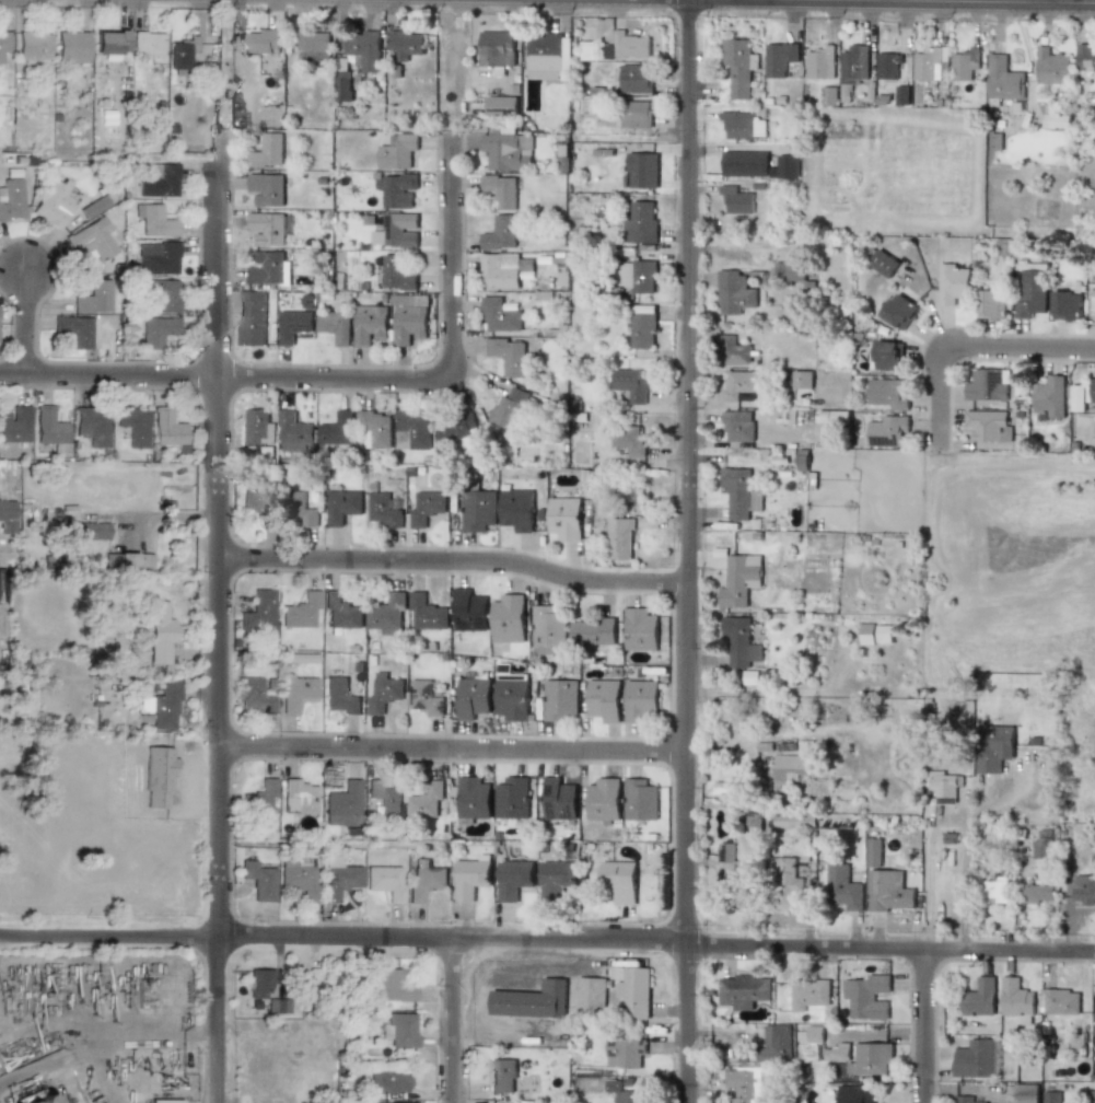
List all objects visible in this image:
road: (500, 0)
road: (935, 1)
road: (1044, 1)
road: (459, 7)
building: (263, 40)
building: (3, 43)
building: (109, 43)
building: (147, 43)
building: (406, 44)
building: (33, 45)
building: (630, 45)
building: (313, 46)
building: (71, 47)
building: (496, 48)
building: (363, 50)
building: (182, 53)
building: (547, 57)
building: (779, 58)
building: (1085, 60)
road: (456, 61)
building: (820, 62)
road: (219, 63)
building: (853, 65)
building: (928, 65)
building: (964, 65)
building: (887, 66)
building: (1051, 67)
building: (738, 69)
building: (634, 79)
building: (1002, 79)
building: (343, 86)
building: (901, 94)
building: (501, 104)
building: (634, 114)
building: (1057, 118)
building: (742, 125)
building: (267, 151)
building: (397, 151)
building: (508, 151)
building: (745, 163)
building: (787, 166)
building: (642, 170)
building: (160, 183)
building: (266, 189)
building: (397, 189)
building: (500, 190)
building: (11, 199)
building: (736, 201)
building: (53, 204)
building: (93, 207)
building: (155, 222)
building: (640, 223)
building: (268, 228)
building: (393, 233)
building: (500, 233)
building: (93, 239)
road: (447, 254)
building: (156, 258)
building: (883, 264)
building: (268, 268)
building: (505, 270)
building: (789, 271)
building: (396, 274)
building: (638, 276)
building: (952, 283)
building: (1032, 290)
building: (734, 292)
building: (162, 295)
building: (93, 299)
building: (992, 304)
building: (1067, 305)
building: (899, 311)
building: (500, 316)
building: (252, 317)
building: (408, 318)
road: (30, 322)
building: (369, 324)
building: (293, 325)
building: (335, 326)
building: (642, 326)
building: (78, 330)
building: (155, 332)
road: (969, 350)
building: (733, 351)
building: (509, 356)
building: (887, 356)
road: (223, 378)
building: (802, 380)
building: (630, 384)
building: (737, 384)
building: (988, 385)
building: (1092, 390)
building: (887, 393)
building: (1049, 396)
building: (1077, 397)
building: (508, 408)
building: (14, 425)
building: (986, 425)
building: (91, 426)
building: (133, 426)
building: (737, 426)
building: (258, 428)
building: (457, 428)
building: (50, 429)
building: (166, 429)
building: (337, 429)
building: (376, 429)
building: (413, 430)
building: (883, 431)
building: (294, 433)
building: (628, 440)
building: (739, 494)
building: (255, 499)
building: (341, 506)
building: (427, 508)
building: (384, 510)
building: (477, 510)
building: (516, 510)
building: (302, 511)
road: (165, 516)
building: (7, 518)
building: (564, 518)
building: (88, 531)
building: (620, 538)
road: (687, 551)
building: (127, 560)
road: (455, 561)
building: (739, 580)
building: (300, 611)
building: (469, 611)
building: (340, 612)
building: (258, 613)
building: (427, 613)
road: (221, 615)
building: (386, 615)
building: (508, 619)
building: (640, 629)
building: (548, 630)
building: (159, 632)
building: (593, 632)
building: (865, 634)
building: (884, 634)
building: (739, 642)
building: (296, 692)
building: (383, 693)
building: (255, 695)
building: (339, 696)
building: (427, 696)
building: (473, 698)
building: (512, 699)
building: (560, 699)
building: (604, 699)
building: (640, 700)
building: (163, 706)
building: (994, 747)
road: (452, 750)
building: (792, 766)
building: (945, 786)
building: (298, 797)
building: (384, 797)
building: (263, 798)
building: (511, 798)
building: (473, 799)
building: (558, 800)
building: (603, 800)
building: (639, 800)
building: (426, 801)
building: (342, 805)
building: (793, 818)
building: (1040, 848)
building: (725, 852)
building: (874, 852)
road: (966, 861)
building: (471, 876)
building: (513, 879)
building: (300, 880)
building: (424, 880)
building: (555, 880)
building: (620, 880)
building: (258, 881)
building: (339, 881)
building: (385, 882)
building: (787, 882)
building: (842, 886)
building: (999, 889)
building: (1083, 890)
building: (888, 891)
building: (1038, 892)
road: (547, 943)
road: (582, 960)
road: (533, 974)
building: (259, 983)
building: (392, 986)
building: (743, 990)
building: (634, 991)
building: (591, 994)
building: (808, 994)
building: (866, 997)
building: (979, 998)
building: (1015, 999)
building: (531, 1000)
building: (1061, 1001)
road: (477, 1003)
building: (278, 1006)
road: (452, 1022)
road: (923, 1025)
building: (399, 1030)
building: (814, 1033)
road: (514, 1036)
road: (106, 1043)
building: (774, 1044)
building: (625, 1053)
building: (836, 1053)
building: (997, 1057)
building: (870, 1059)
building: (974, 1059)
road: (101, 1075)
building: (502, 1076)
building: (386, 1082)
building: (743, 1084)
building: (625, 1093)
building: (1025, 1093)
building: (855, 1094)
building: (1051, 1096)
building: (1093, 1096)
building: (38, 1099)
building: (964, 1100)
building: (163, 1101)

